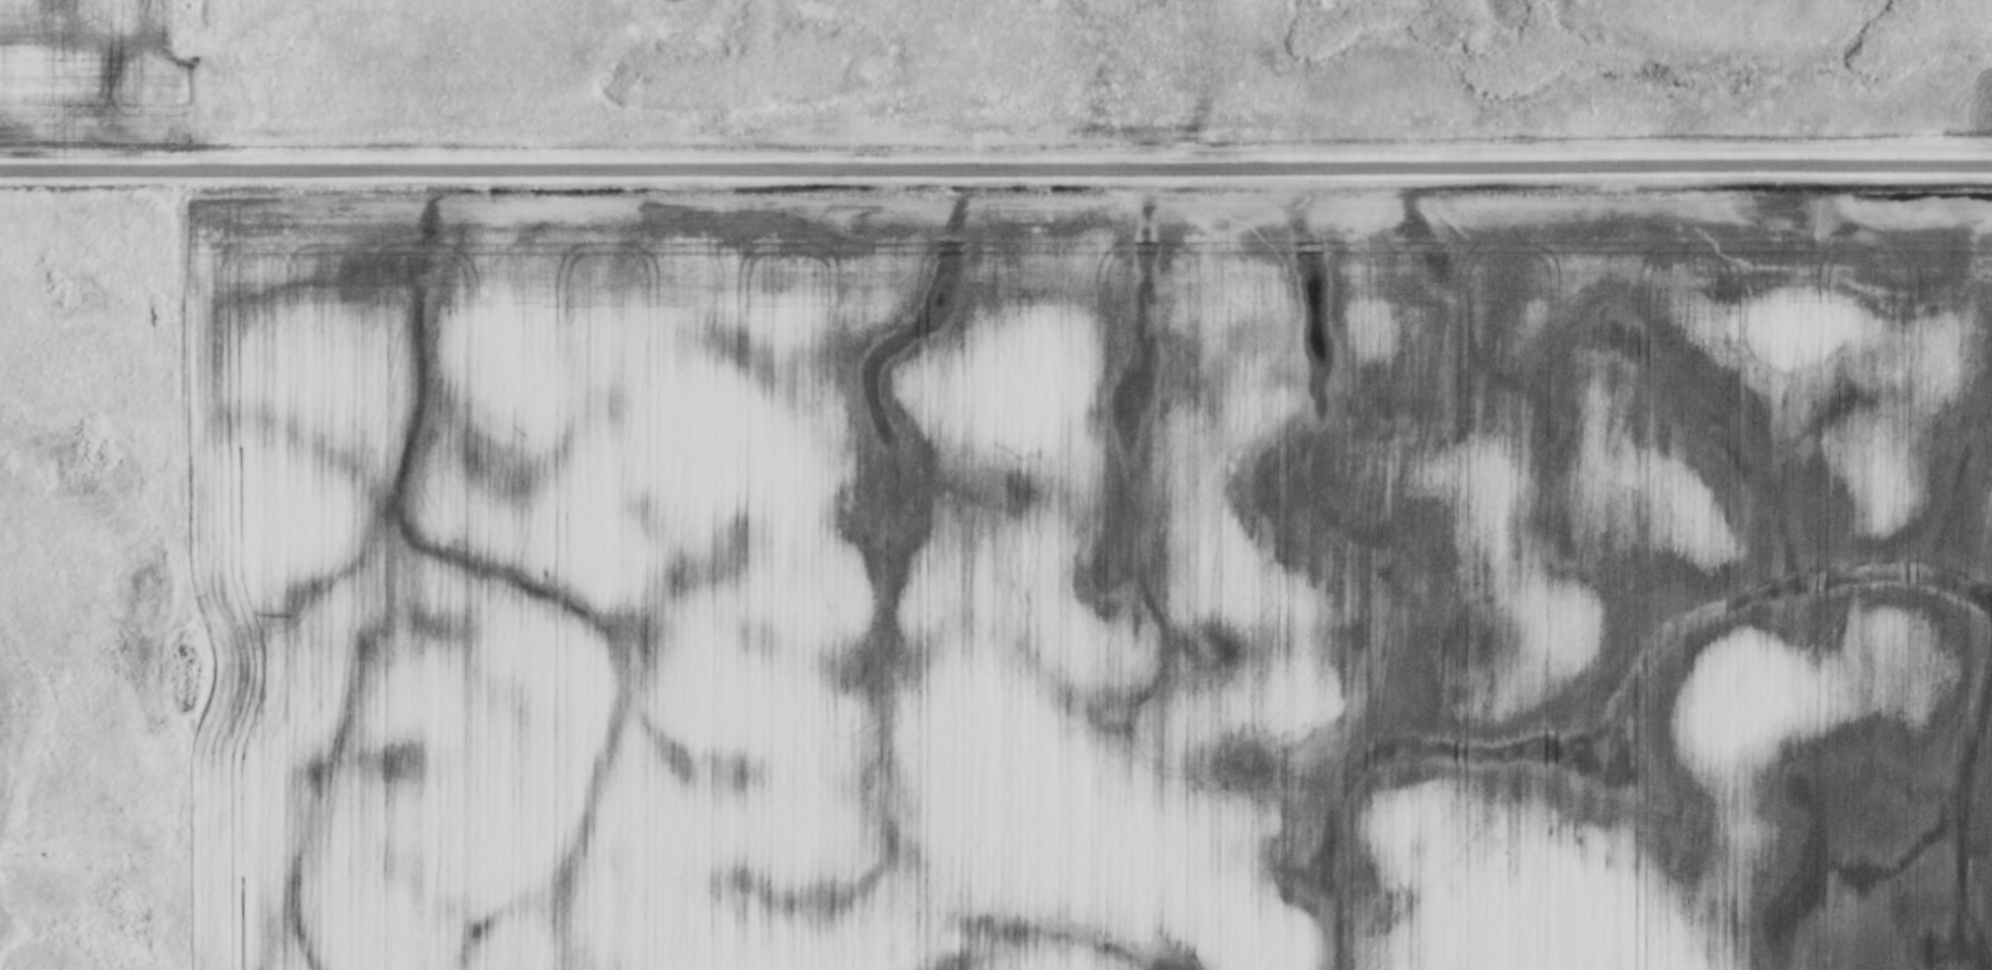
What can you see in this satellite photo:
road: (996, 166)

